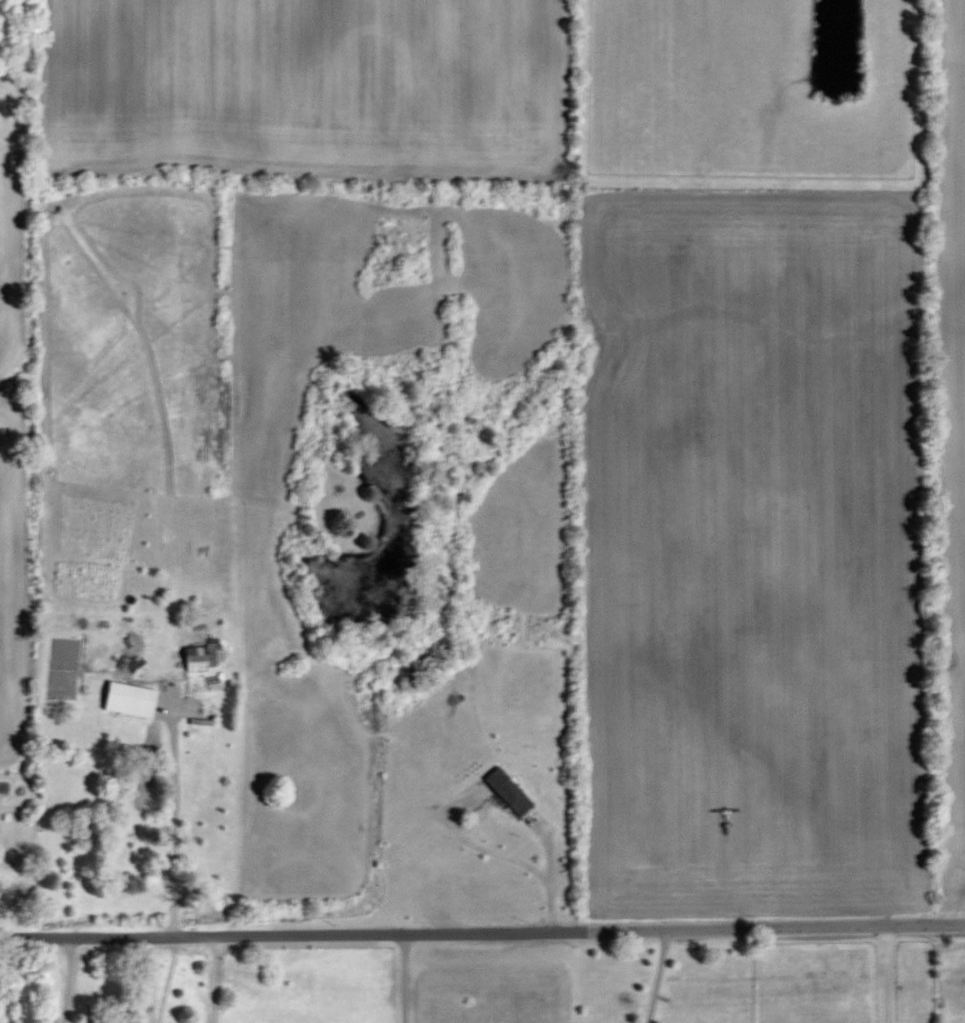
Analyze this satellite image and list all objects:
building: (129, 653)
building: (204, 657)
building: (130, 700)
building: (198, 721)
building: (508, 791)
road: (172, 825)
road: (548, 857)
road: (519, 859)
road: (482, 930)
road: (656, 975)
road: (885, 975)
road: (216, 977)
road: (402, 977)
road: (68, 978)

